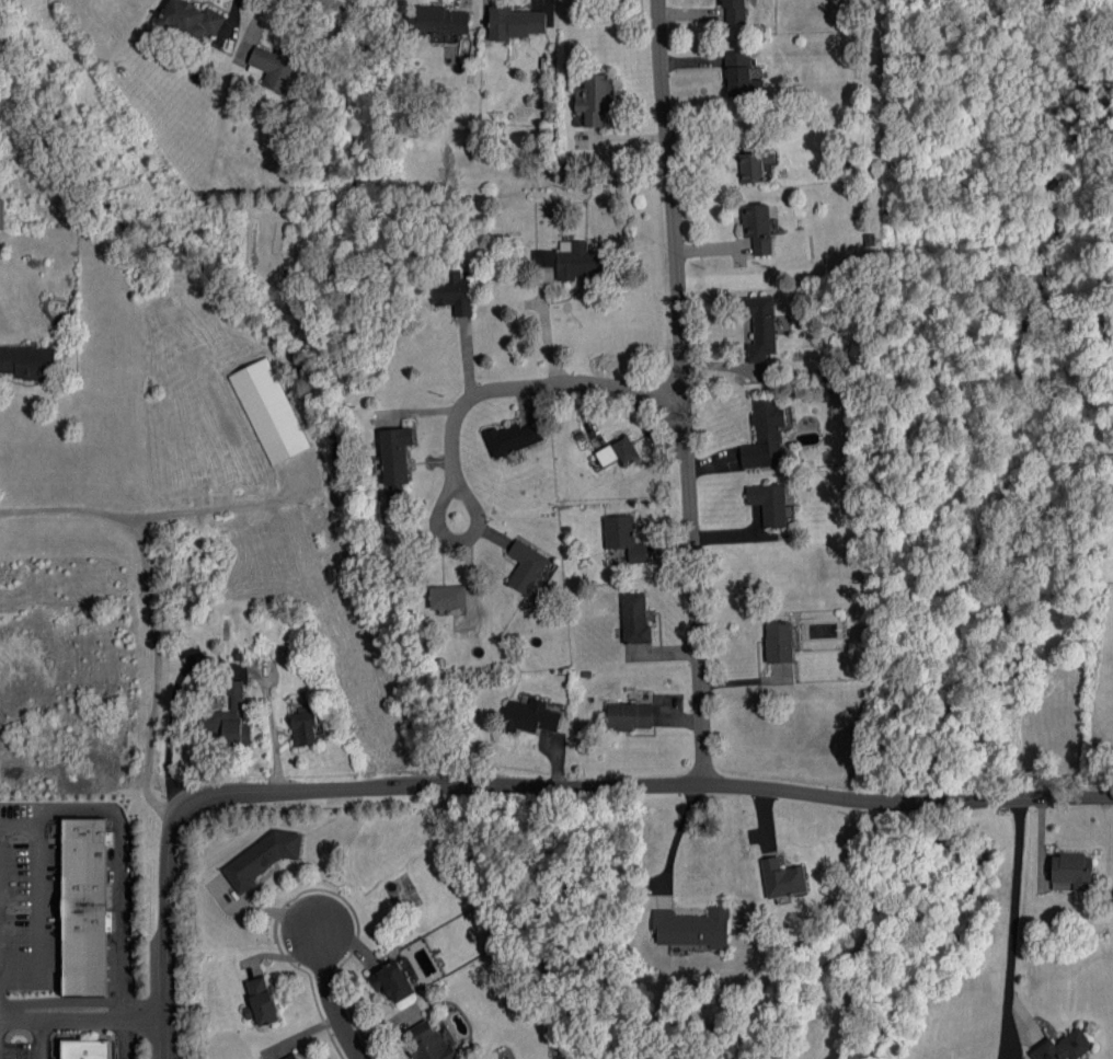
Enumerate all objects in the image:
building: (735, 11)
building: (192, 19)
building: (438, 21)
building: (515, 23)
building: (282, 68)
building: (742, 76)
building: (594, 99)
building: (753, 168)
building: (1, 214)
building: (758, 227)
building: (571, 260)
building: (454, 292)
building: (760, 326)
building: (27, 361)
road: (533, 385)
road: (686, 390)
building: (269, 411)
building: (765, 434)
building: (513, 438)
building: (619, 452)
building: (395, 461)
building: (770, 503)
road: (213, 513)
road: (447, 531)
building: (624, 537)
building: (526, 565)
building: (188, 574)
building: (448, 597)
road: (156, 602)
building: (634, 619)
building: (779, 642)
road: (215, 663)
building: (630, 715)
building: (530, 716)
building: (229, 718)
road: (519, 784)
road: (675, 832)
road: (127, 852)
building: (263, 857)
building: (1074, 870)
building: (782, 878)
building: (85, 906)
road: (4, 926)
building: (692, 928)
road: (1009, 928)
building: (393, 981)
road: (336, 999)
building: (261, 1001)
road: (66, 1005)
road: (84, 1013)
road: (37, 1037)
building: (432, 1043)
building: (1063, 1047)
building: (88, 1050)
building: (291, 1056)

